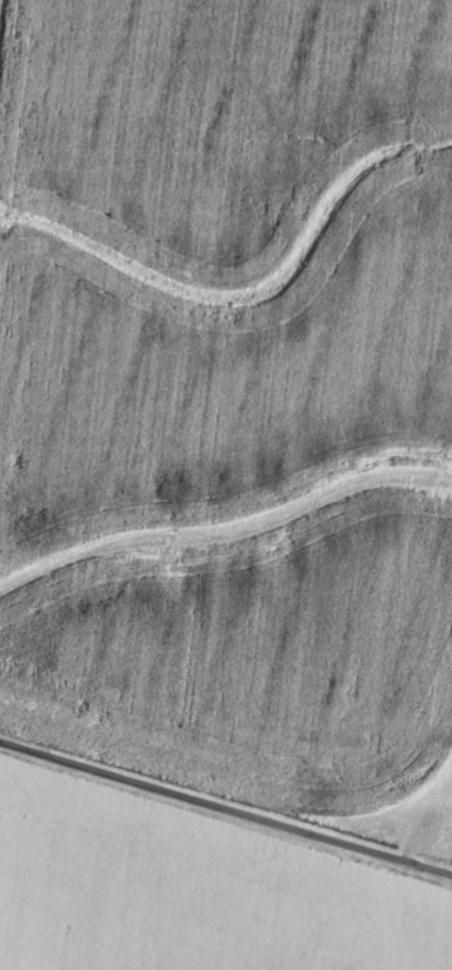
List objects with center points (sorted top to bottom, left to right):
road: (225, 808)

